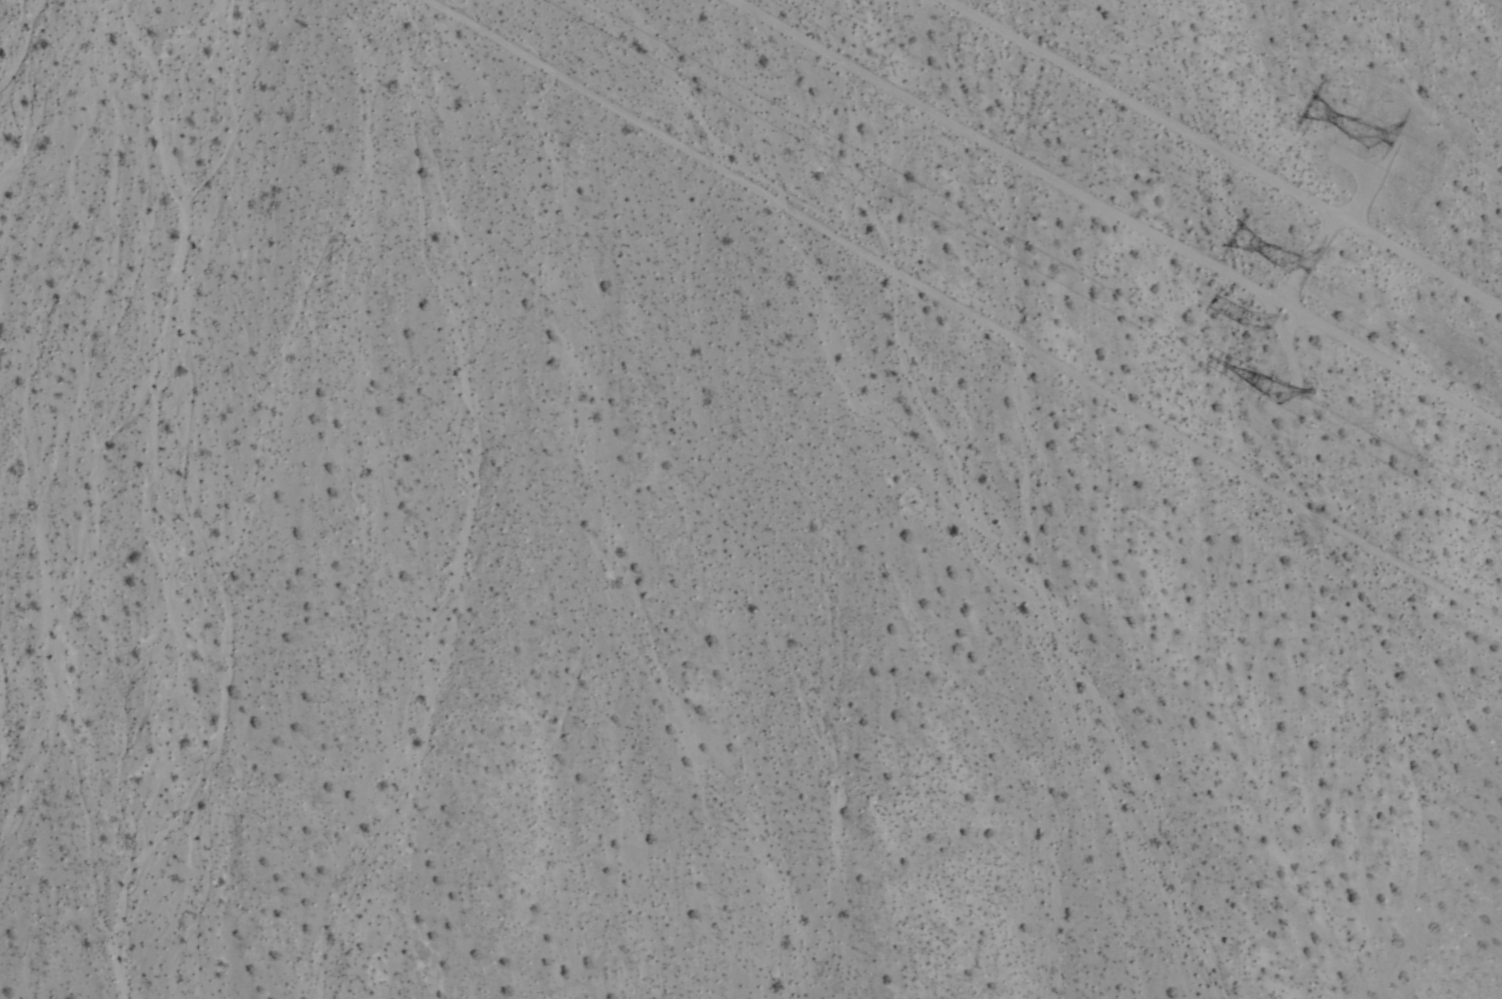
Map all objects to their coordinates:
power tower: (1374, 136)
road: (1113, 212)
power tower: (1292, 262)
power tower: (1256, 325)
power tower: (1284, 392)

